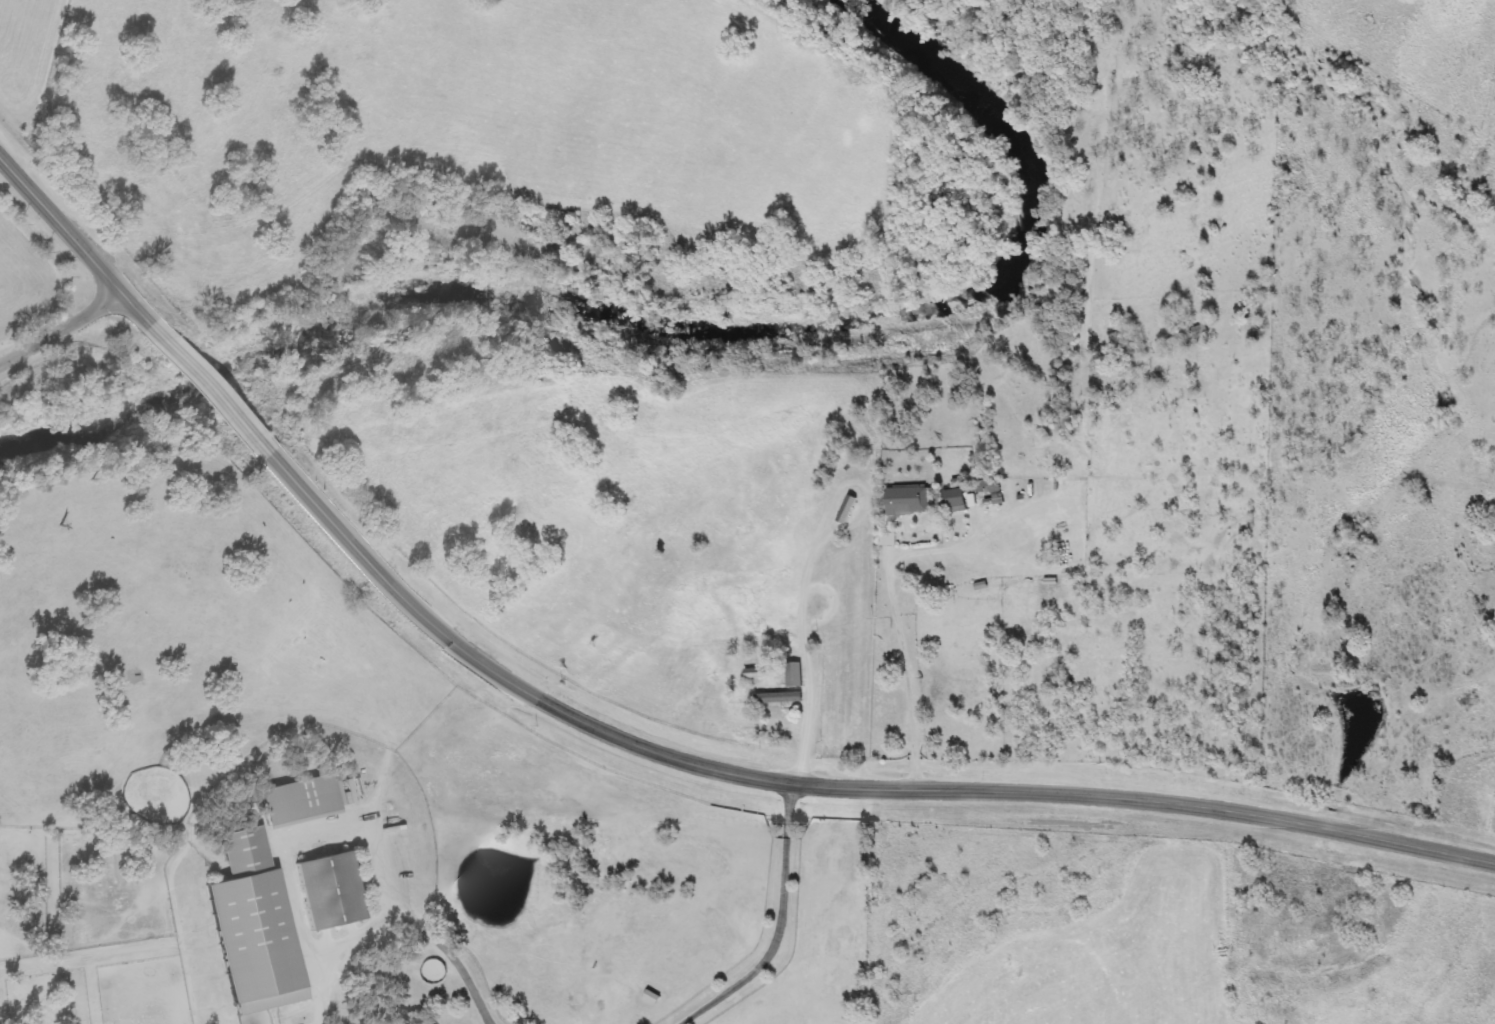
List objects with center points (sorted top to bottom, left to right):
road: (74, 241)
crop: (34, 270)
building: (1193, 331)
road: (61, 332)
road: (211, 390)
building: (992, 487)
building: (911, 501)
road: (903, 655)
road: (806, 660)
building: (755, 674)
building: (794, 675)
building: (780, 699)
road: (830, 785)
crop: (352, 795)
building: (301, 802)
building: (332, 890)
building: (257, 926)
road: (784, 926)
road: (456, 952)

